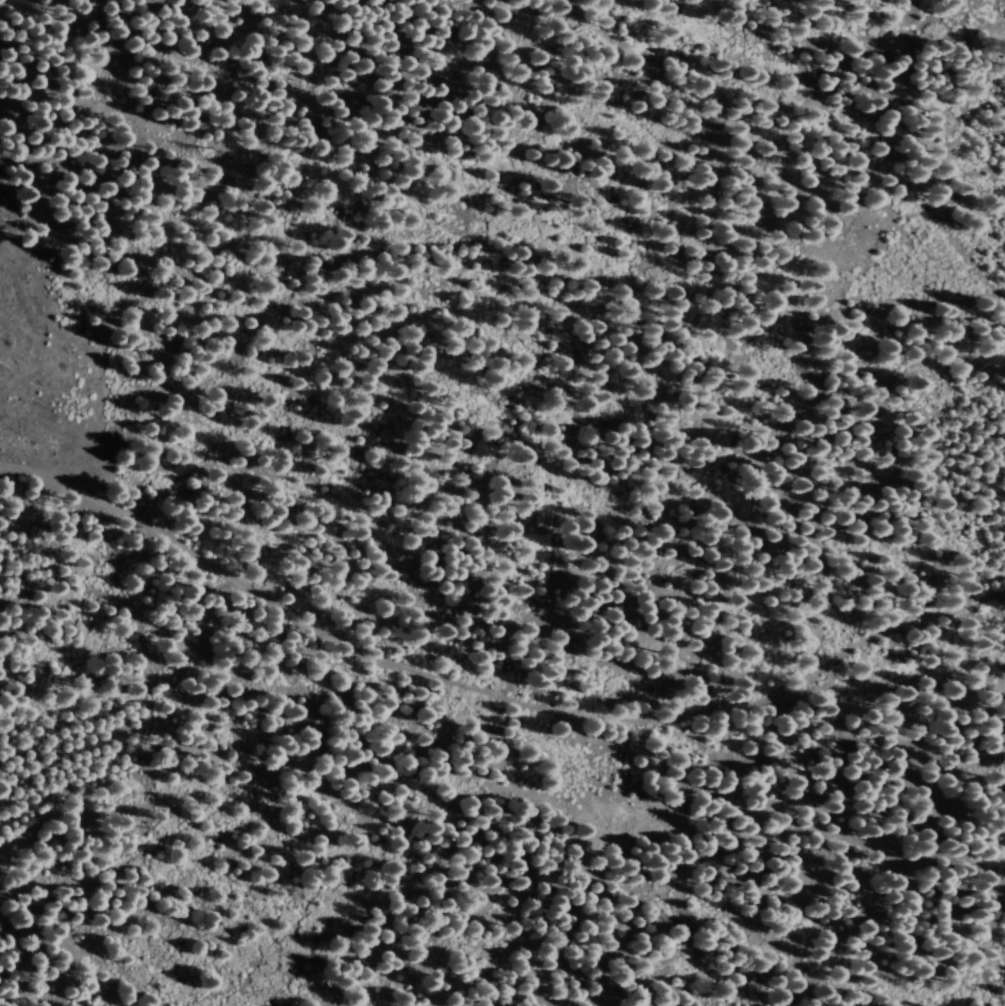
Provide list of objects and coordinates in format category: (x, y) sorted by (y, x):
road: (864, 169)
road: (493, 697)

